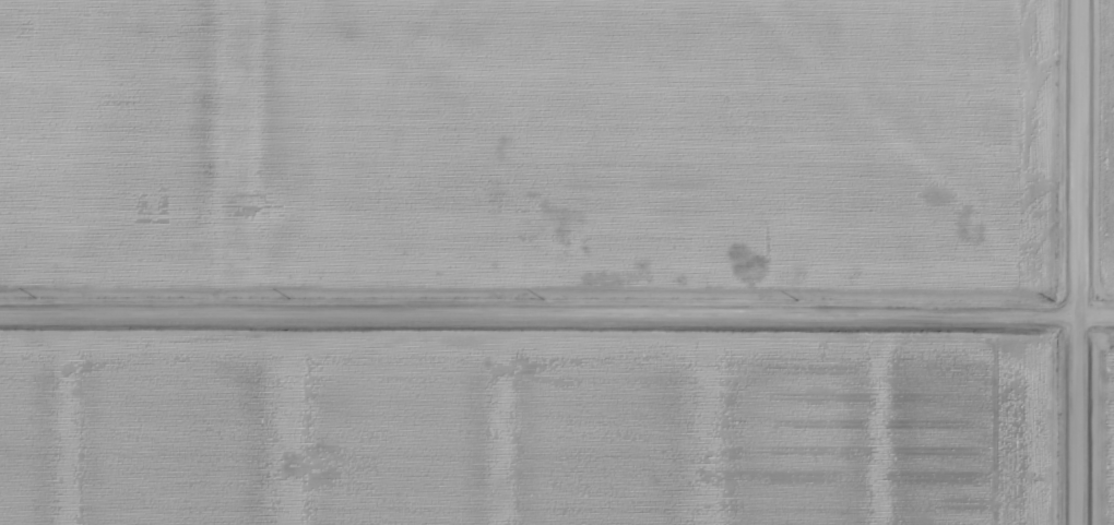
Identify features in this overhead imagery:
road: (1090, 262)
road: (557, 282)

